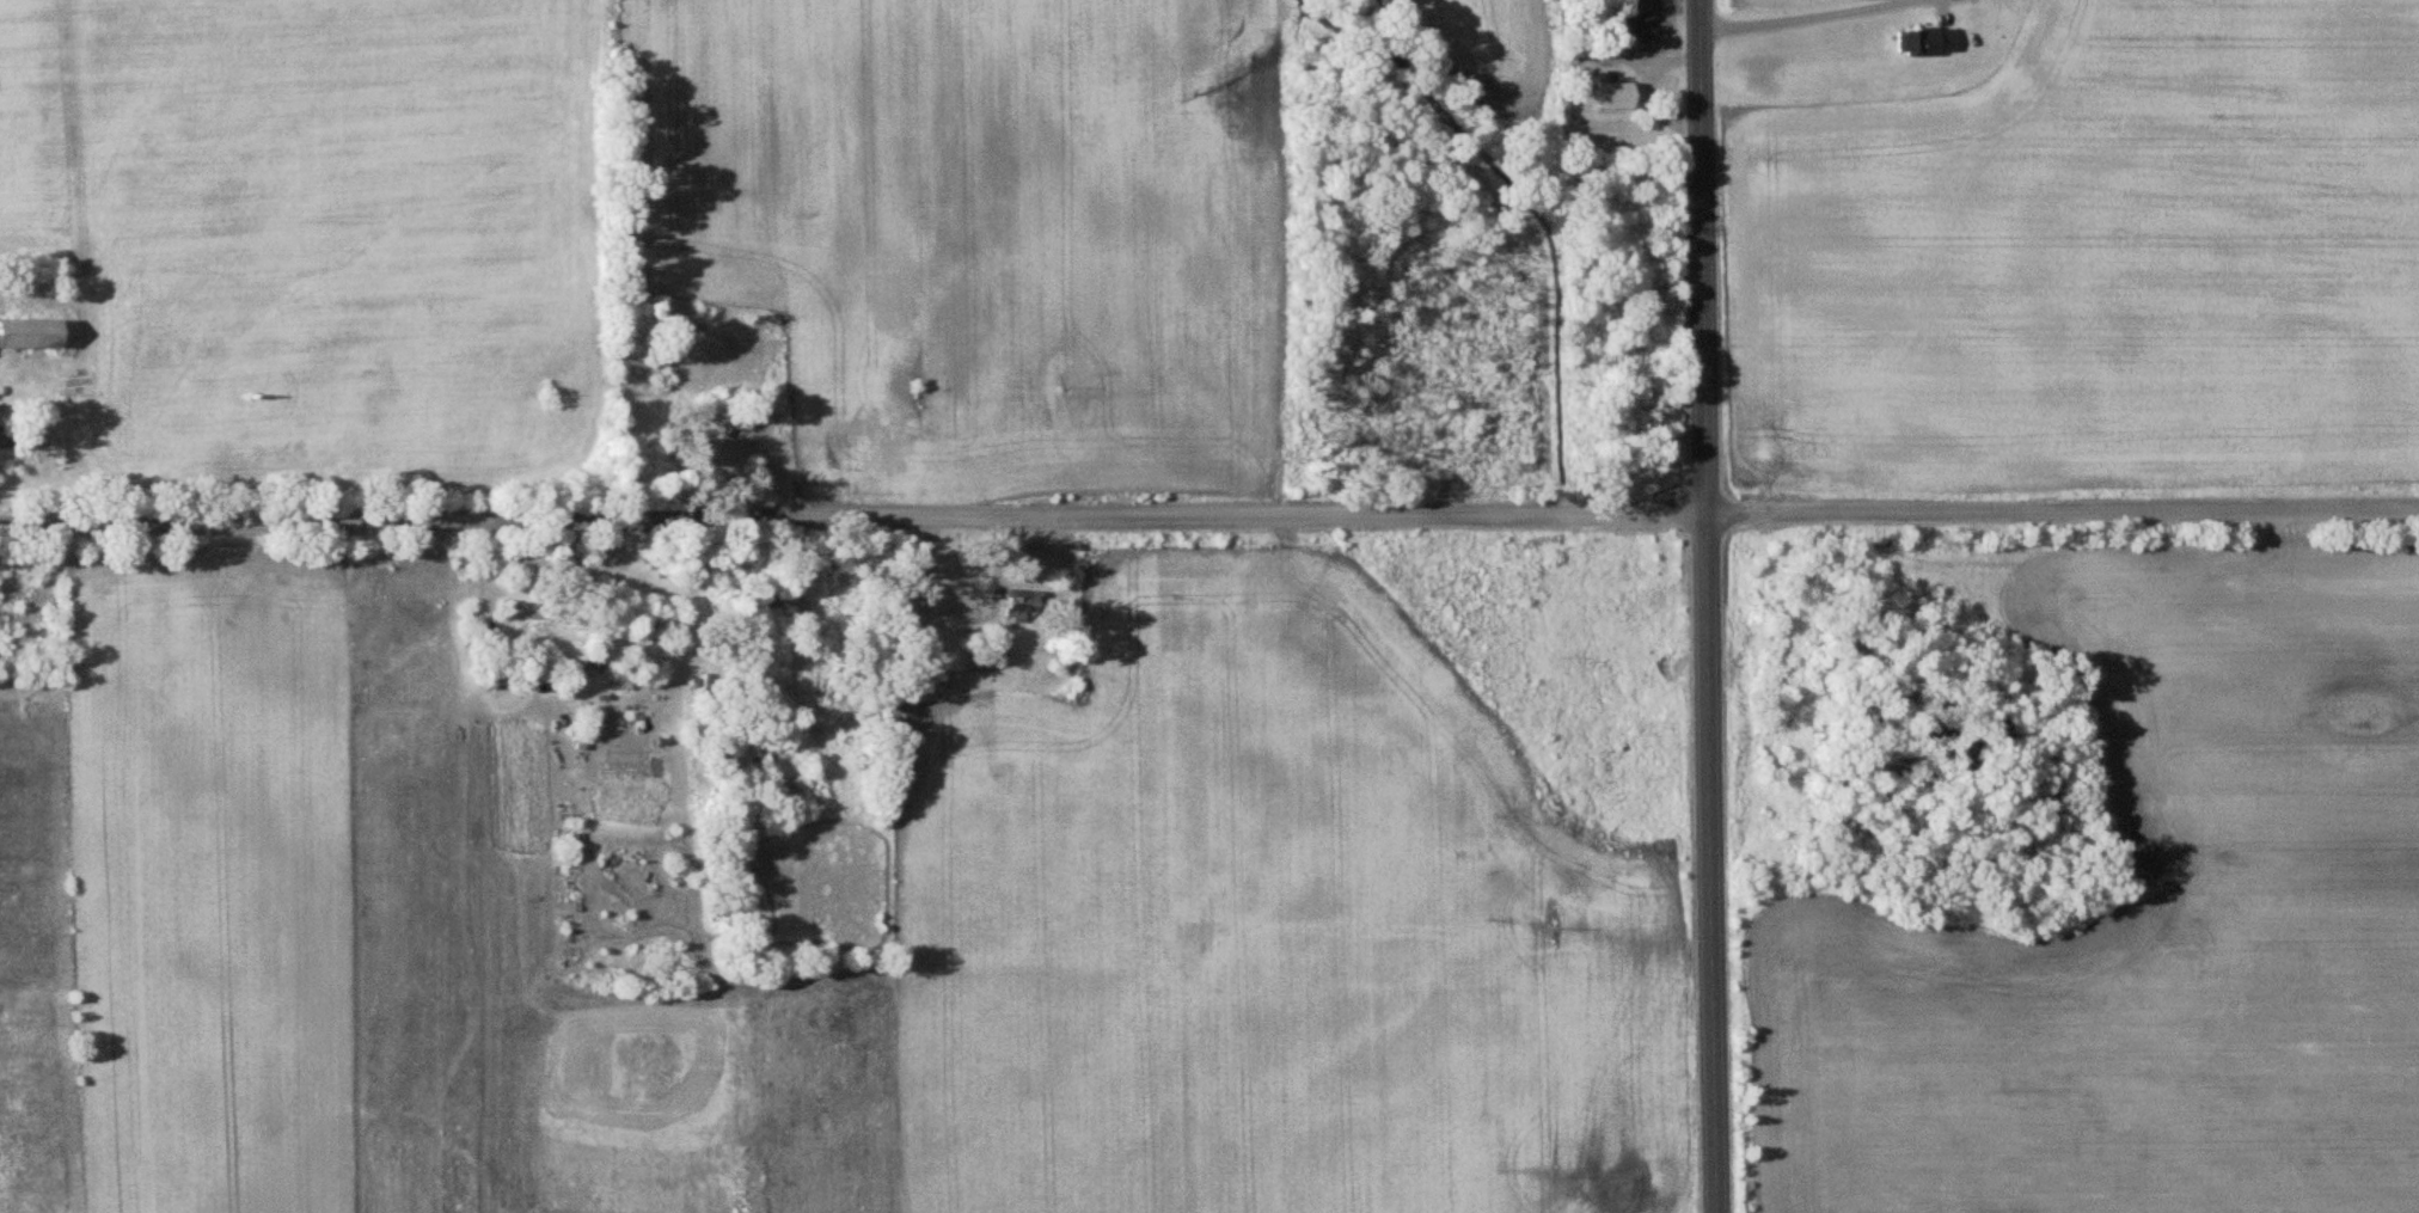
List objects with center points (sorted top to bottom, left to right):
road: (1806, 16)
building: (1927, 41)
building: (1574, 43)
building: (1612, 93)
building: (29, 332)
building: (719, 418)
road: (1209, 521)
building: (1019, 604)
road: (1709, 606)

